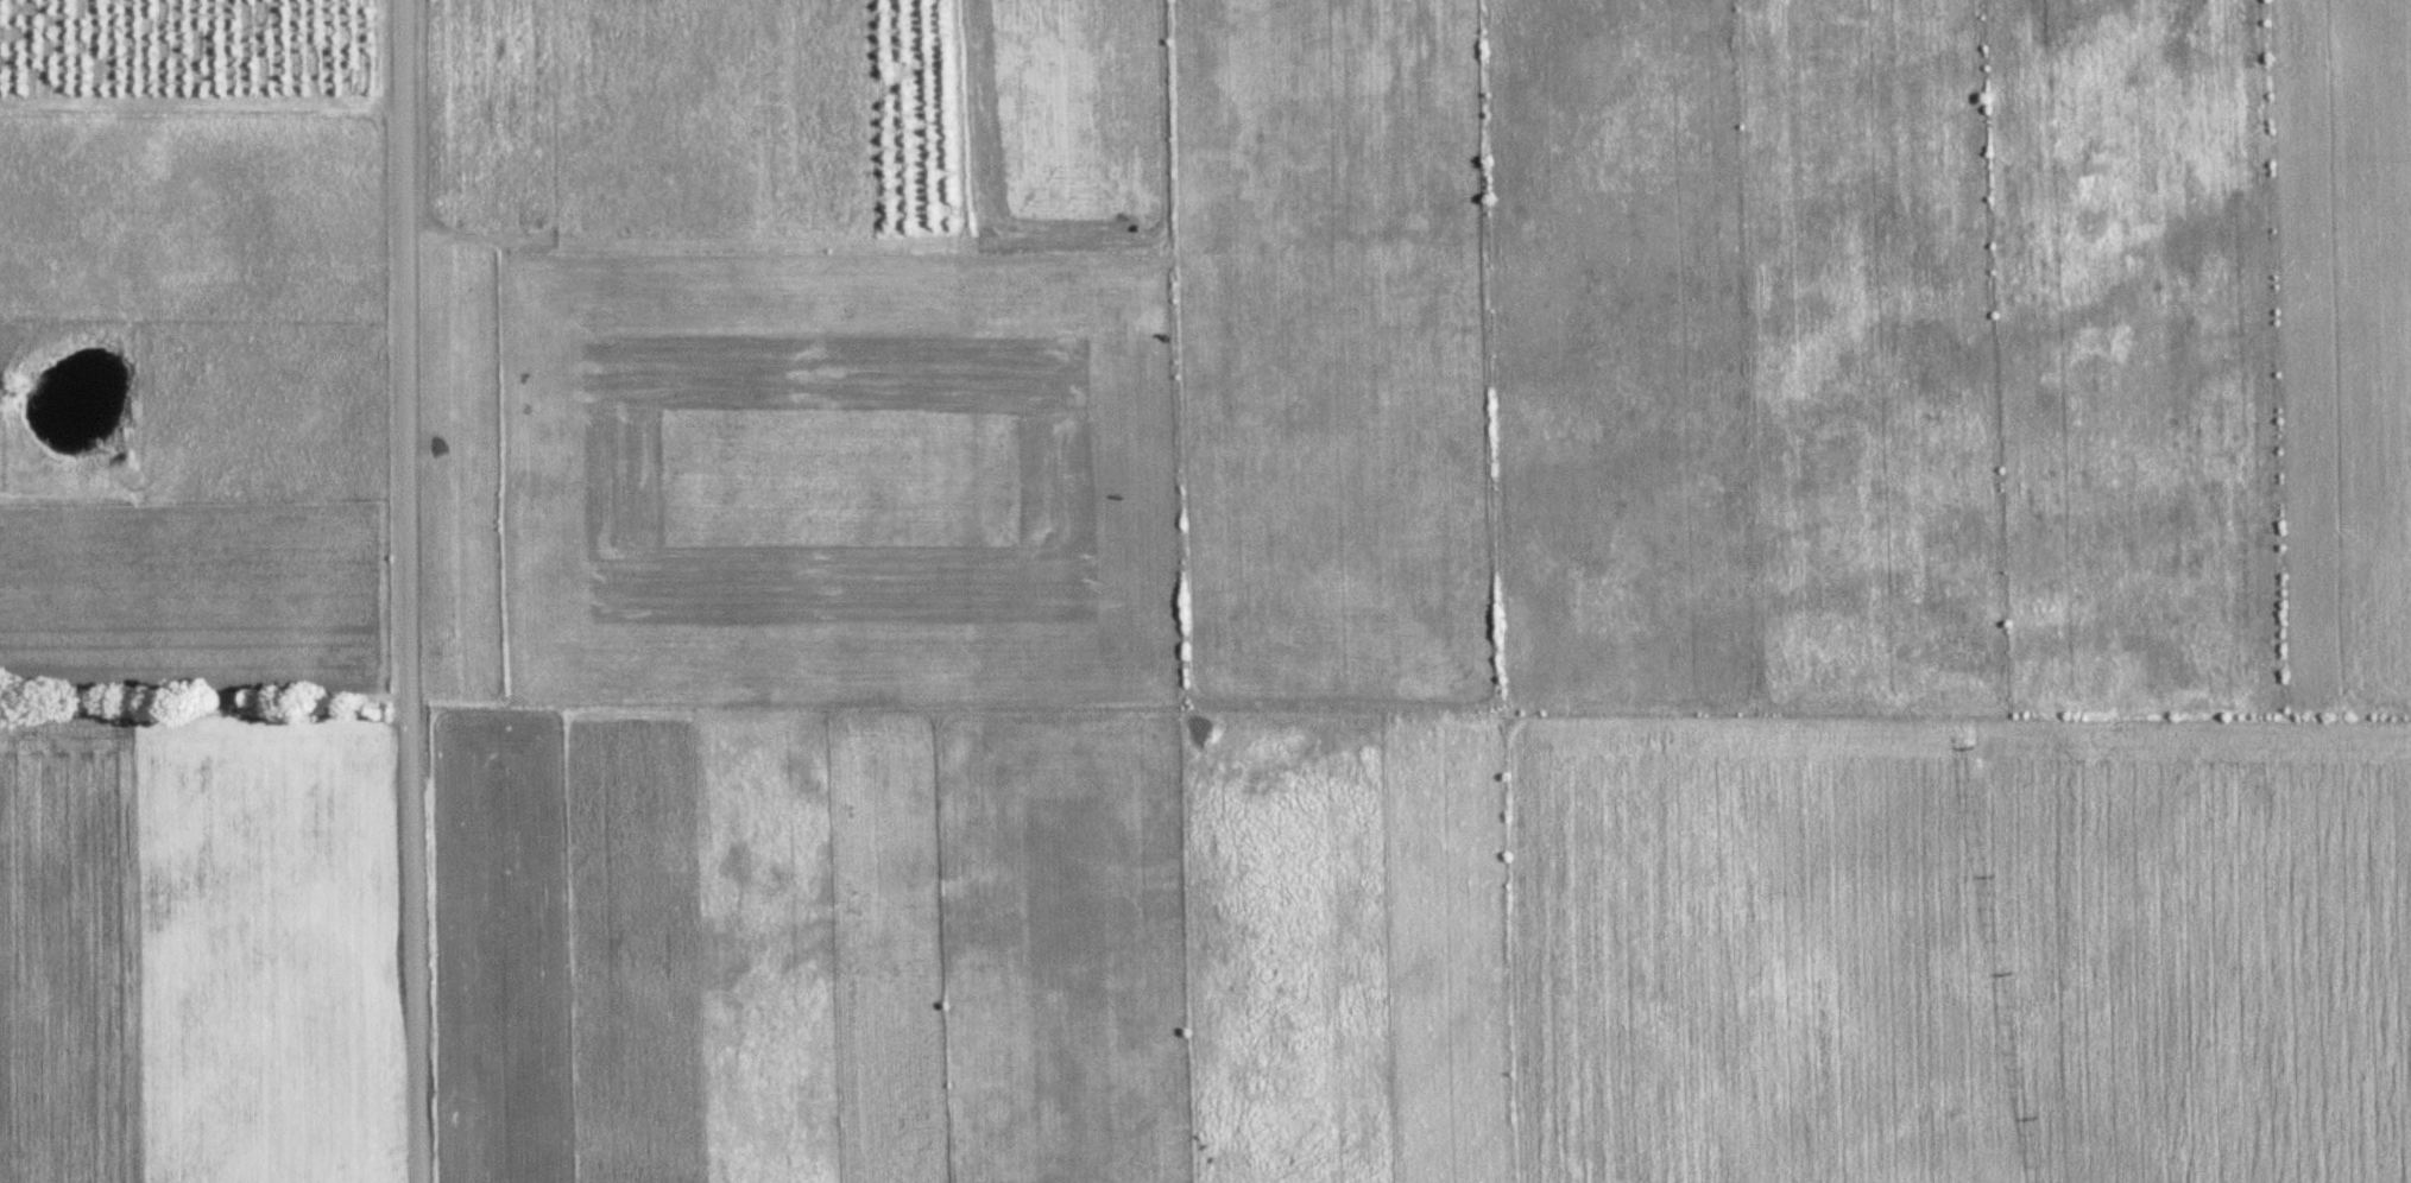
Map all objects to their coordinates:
road: (411, 591)

